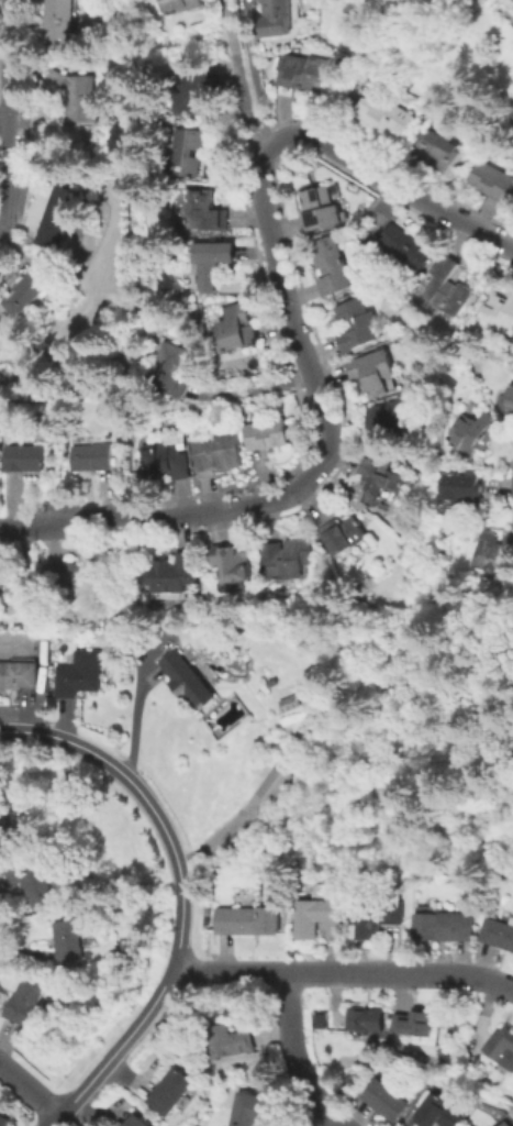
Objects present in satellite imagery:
building: (183, 4)
building: (59, 14)
building: (275, 18)
building: (303, 74)
road: (241, 77)
building: (196, 90)
building: (76, 95)
road: (255, 98)
road: (10, 114)
building: (384, 114)
road: (4, 121)
building: (436, 147)
building: (189, 152)
road: (349, 153)
building: (490, 179)
building: (320, 209)
building: (205, 212)
building: (58, 216)
road: (1, 232)
building: (408, 246)
building: (213, 258)
building: (332, 266)
building: (447, 287)
building: (26, 289)
building: (500, 312)
building: (358, 323)
building: (239, 329)
road: (299, 331)
building: (0, 361)
building: (170, 372)
building: (370, 373)
road: (253, 394)
building: (510, 398)
building: (395, 421)
building: (471, 432)
building: (269, 437)
building: (219, 451)
building: (26, 460)
building: (94, 460)
building: (164, 463)
building: (381, 481)
building: (461, 492)
road: (253, 505)
road: (60, 523)
building: (343, 534)
building: (493, 553)
building: (291, 562)
building: (236, 567)
building: (4, 572)
building: (172, 575)
building: (73, 581)
building: (21, 674)
building: (79, 675)
building: (182, 678)
road: (129, 718)
park: (422, 759)
building: (268, 786)
building: (0, 817)
building: (5, 834)
building: (43, 890)
road: (181, 898)
building: (316, 917)
building: (249, 921)
building: (376, 921)
building: (445, 927)
building: (499, 935)
building: (71, 941)
road: (343, 973)
building: (26, 1001)
building: (317, 1019)
building: (368, 1023)
building: (415, 1026)
building: (226, 1041)
building: (502, 1047)
road: (293, 1056)
road: (29, 1093)
building: (171, 1093)
building: (389, 1102)
building: (253, 1111)
building: (440, 1114)
building: (3, 1121)
building: (137, 1122)
road: (336, 1122)
building: (505, 1125)

